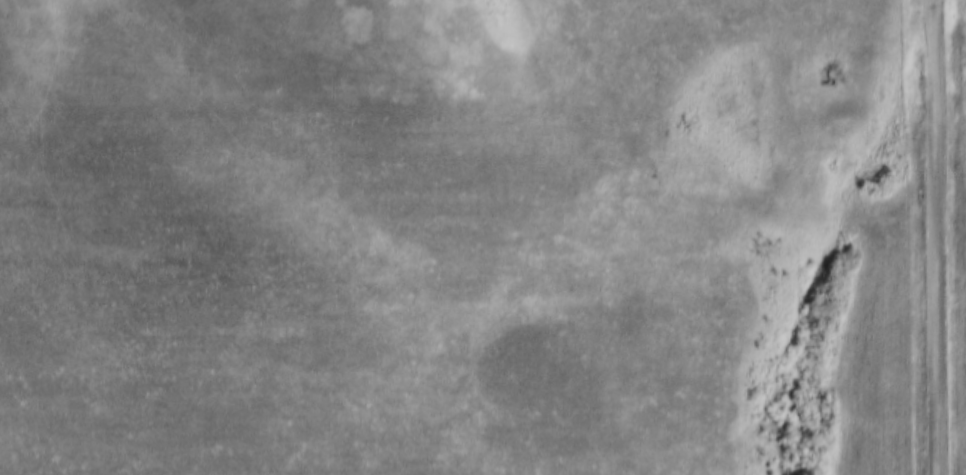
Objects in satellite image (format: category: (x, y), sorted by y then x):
road: (947, 237)

